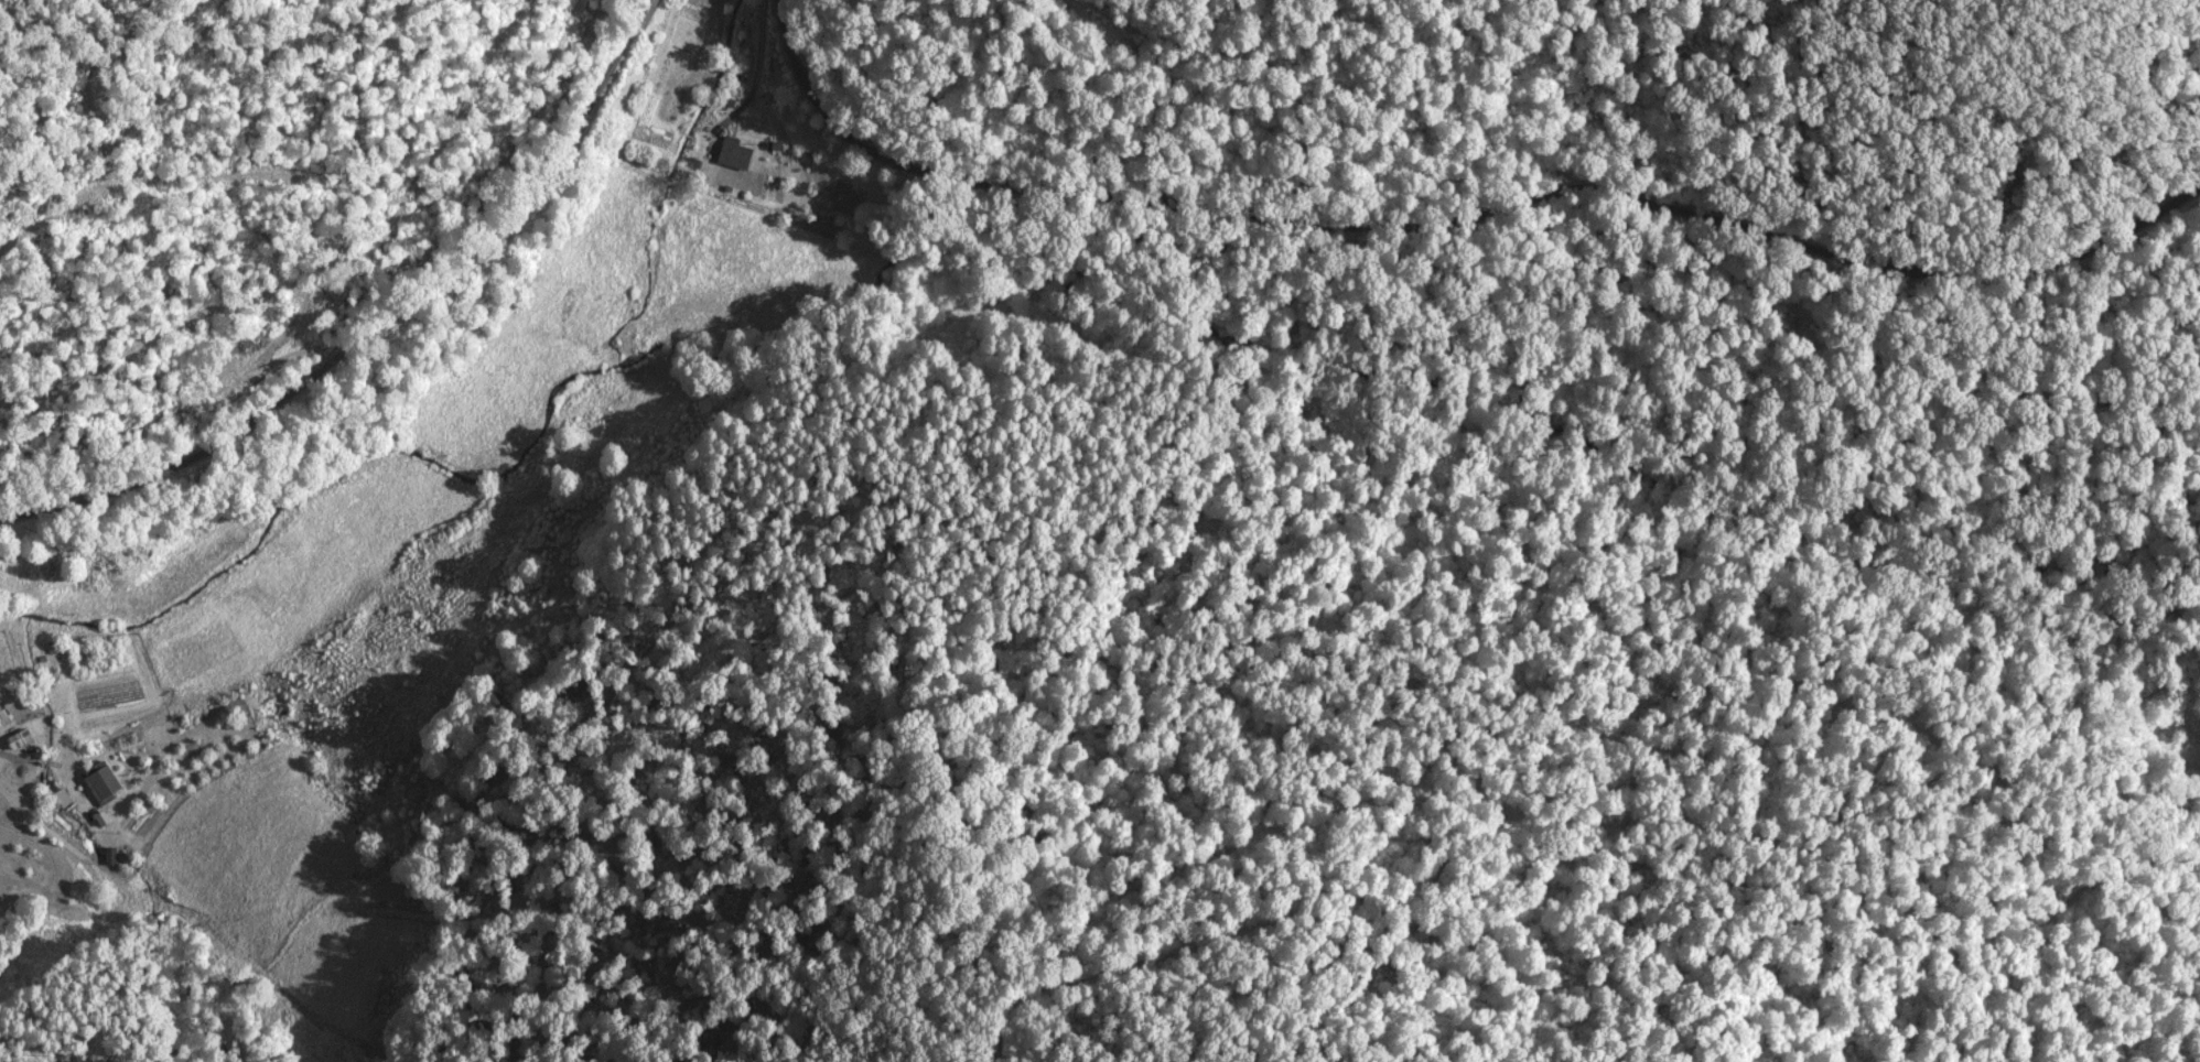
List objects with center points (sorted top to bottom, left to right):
building: (733, 151)
road: (1464, 155)
road: (314, 252)
building: (99, 780)

